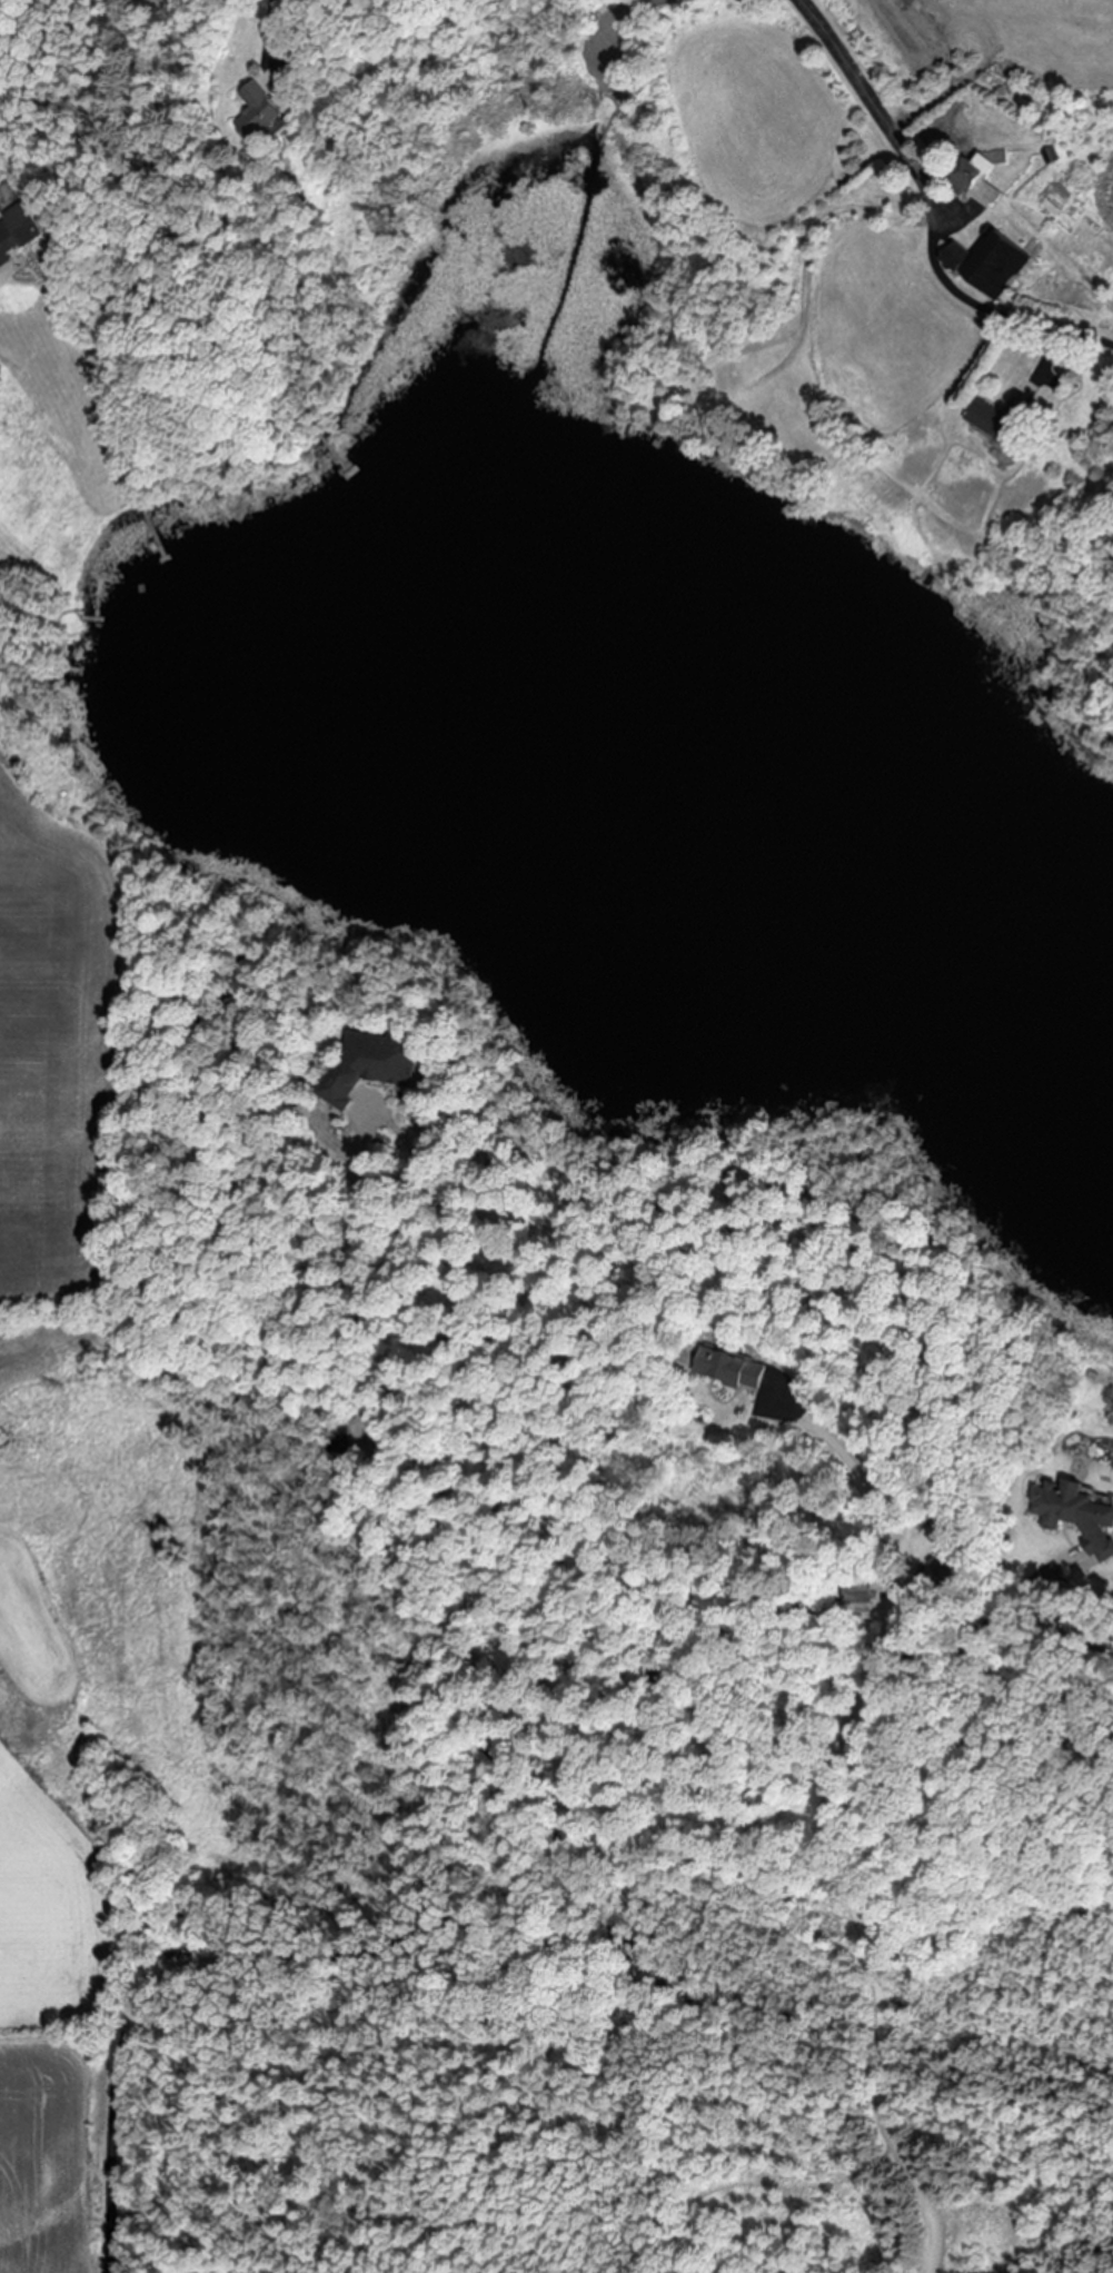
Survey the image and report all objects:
road: (657, 1)
road: (270, 20)
road: (854, 77)
building: (256, 113)
building: (977, 178)
building: (14, 232)
building: (984, 265)
road: (962, 296)
building: (998, 421)
building: (372, 1065)
building: (724, 1368)
building: (1075, 1517)
building: (855, 1595)
road: (544, 1828)
road: (829, 1830)

